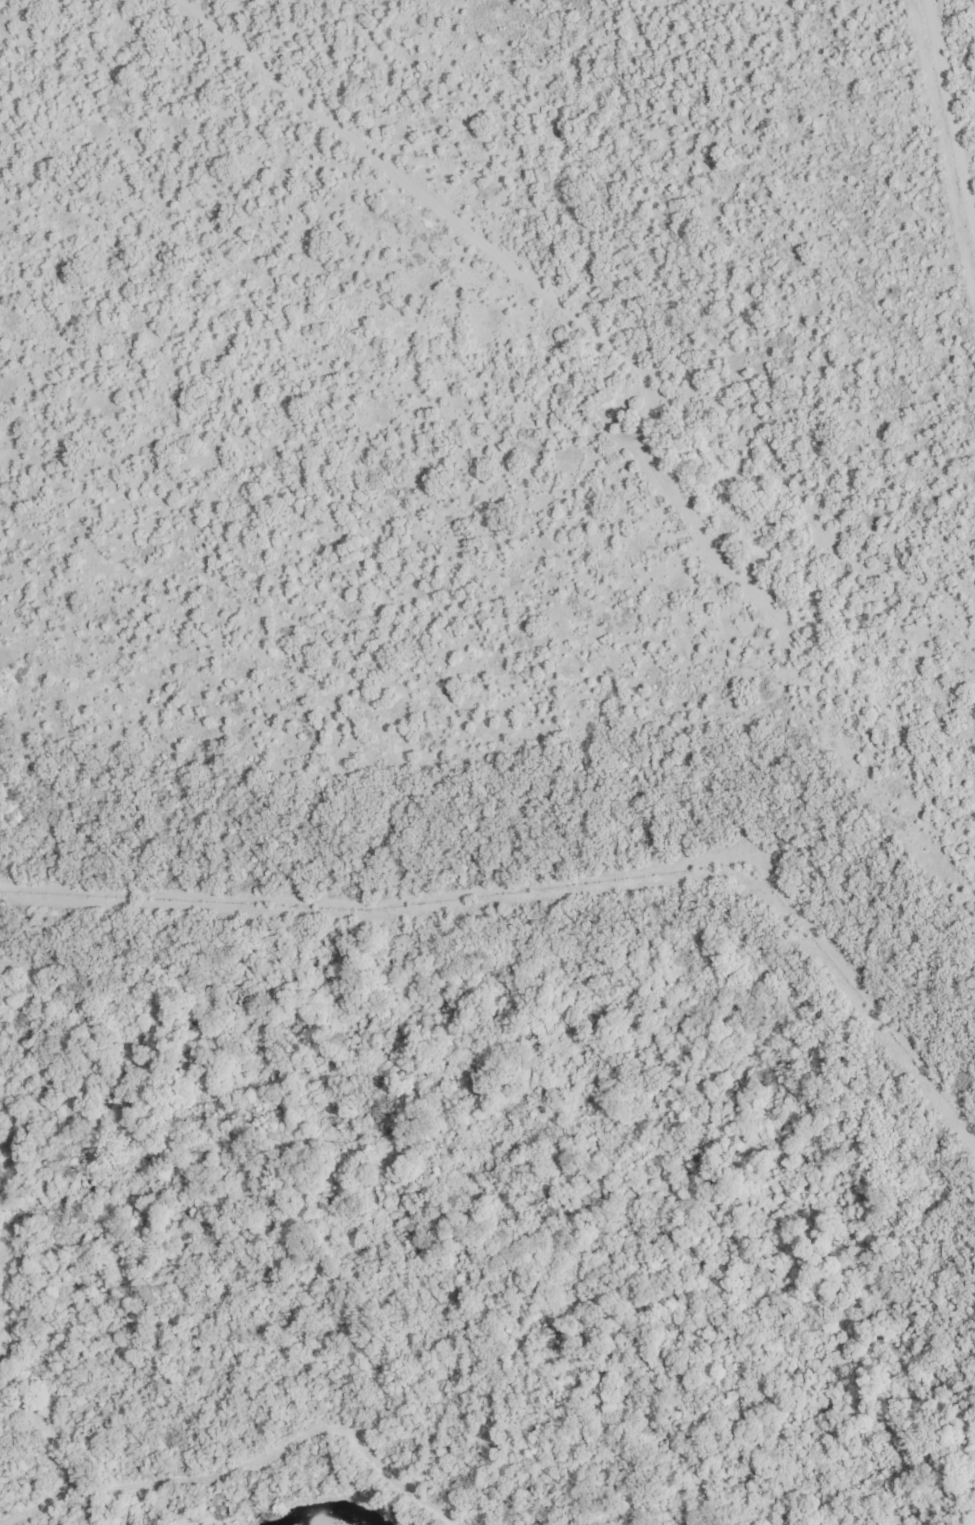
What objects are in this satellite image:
road: (955, 103)
road: (540, 882)
road: (2, 1333)
road: (225, 1475)

